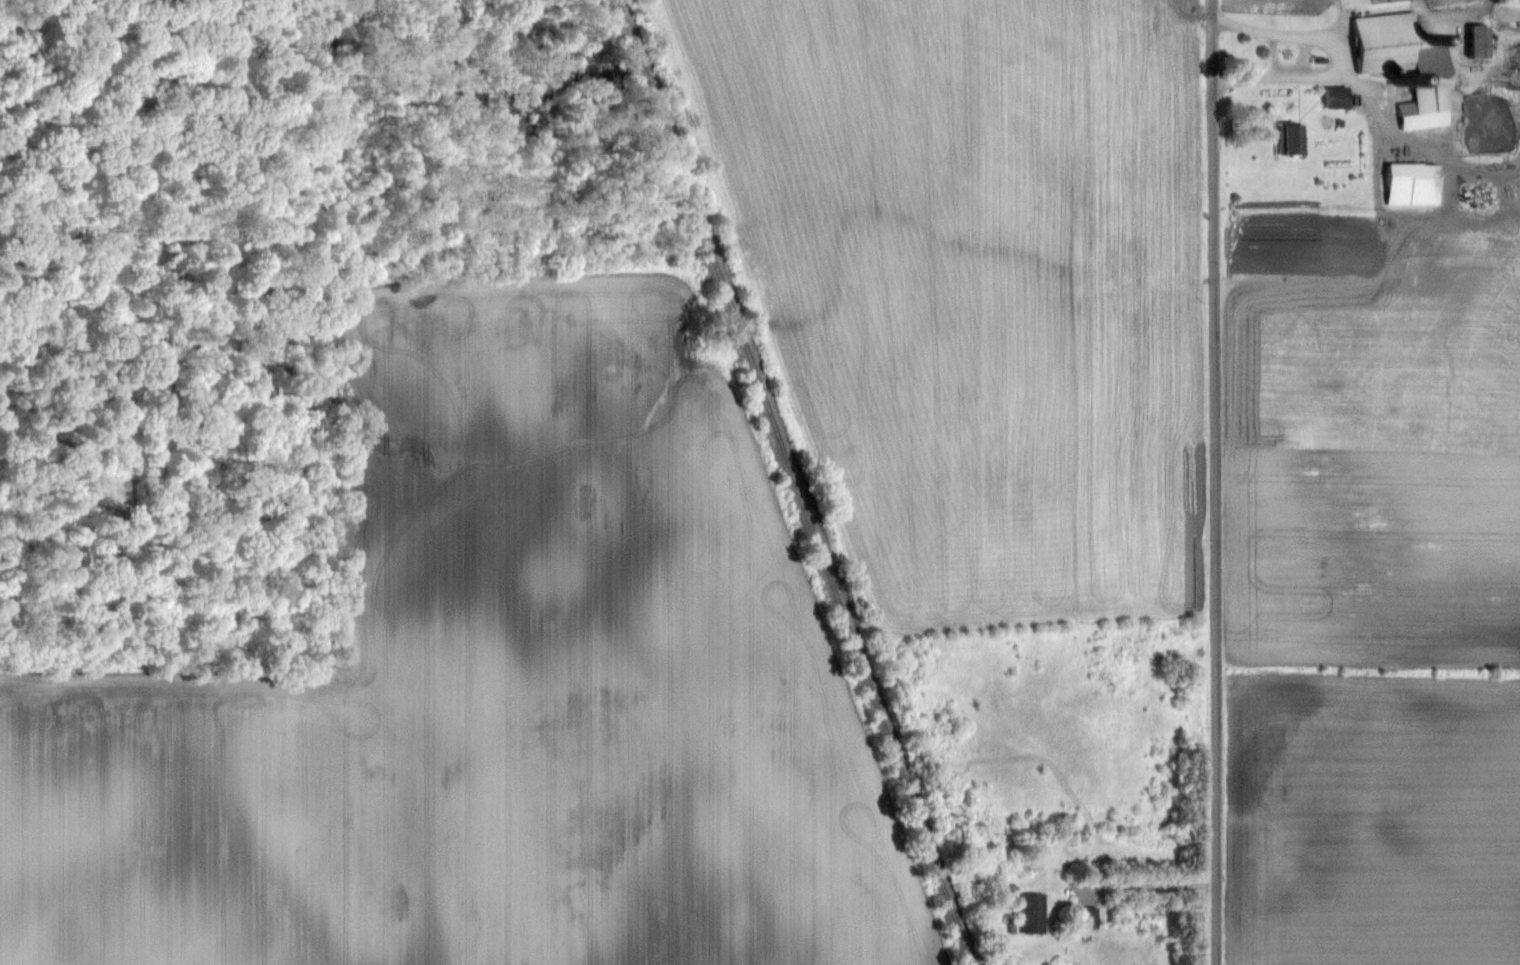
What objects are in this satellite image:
building: (1483, 42)
building: (1400, 47)
road: (1335, 60)
building: (1339, 99)
building: (1427, 115)
building: (1296, 141)
railway: (805, 482)
road: (1215, 482)
road: (1138, 885)
building: (1036, 913)

